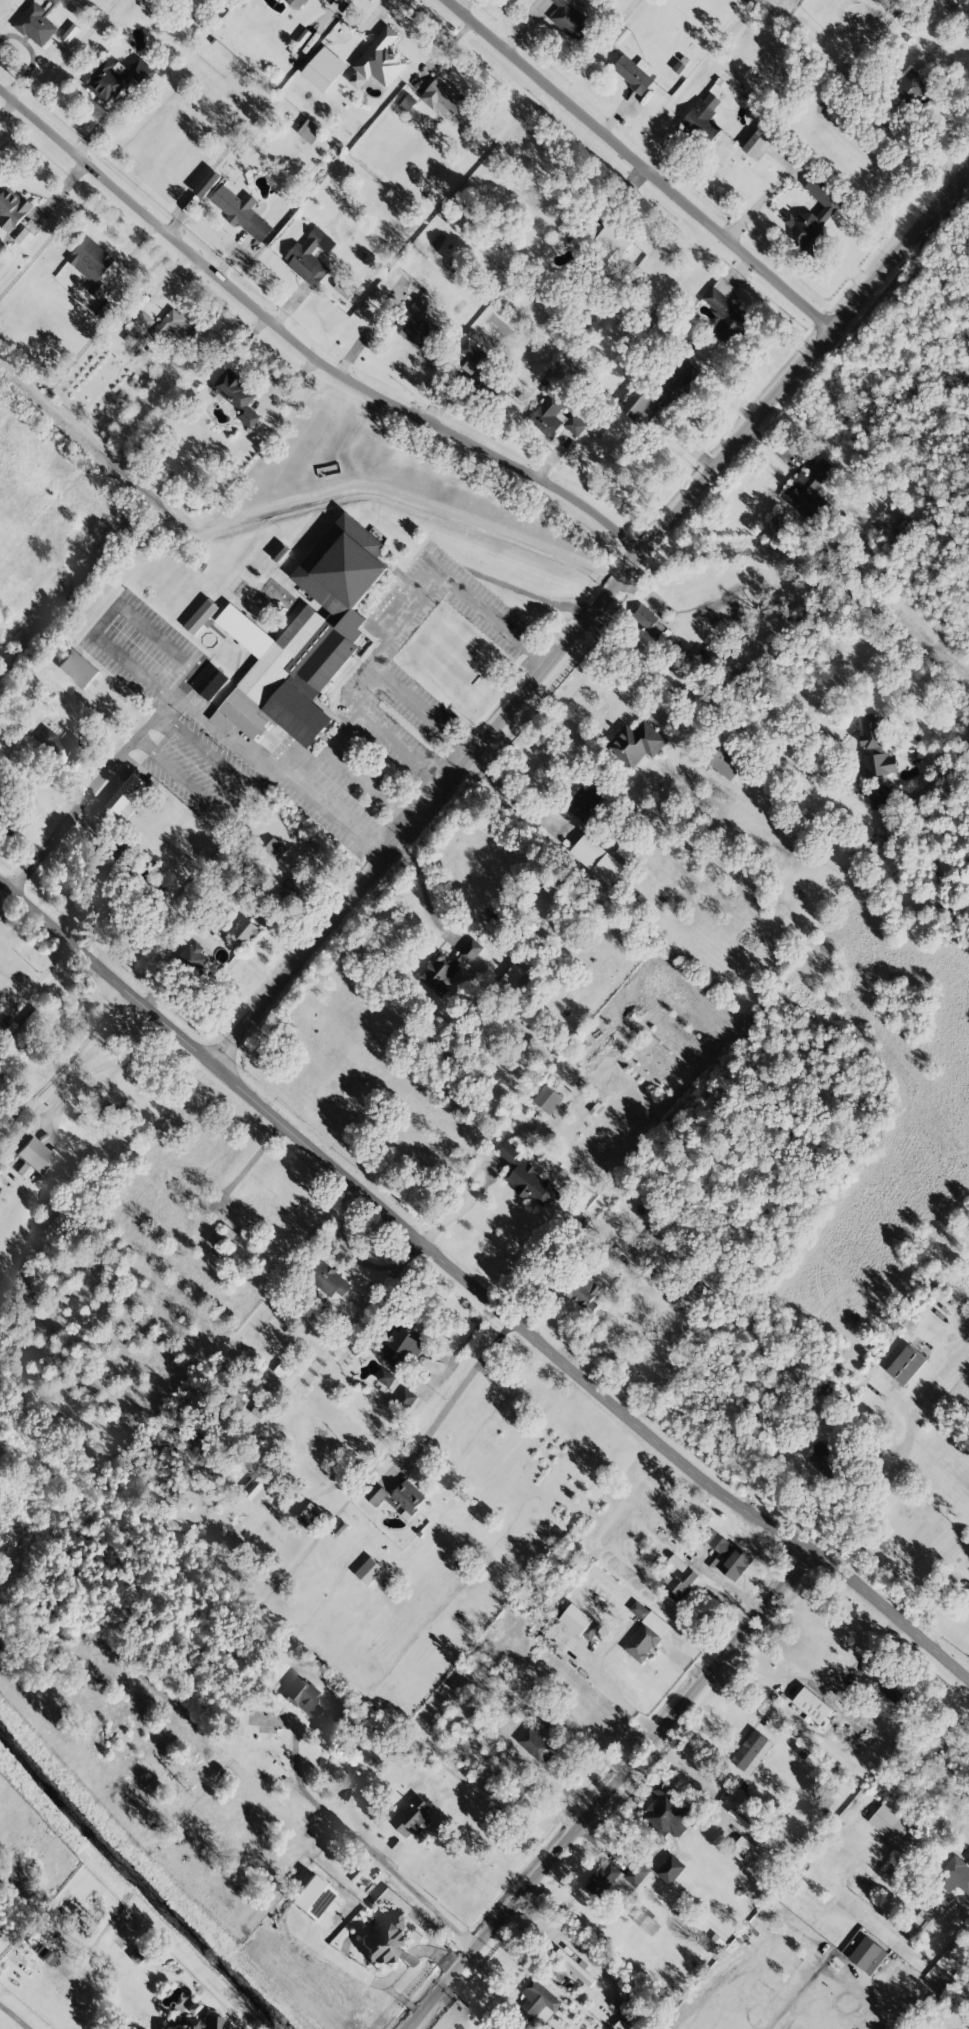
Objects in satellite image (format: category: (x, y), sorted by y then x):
building: (324, 0)
building: (295, 3)
building: (570, 19)
building: (37, 23)
building: (379, 60)
building: (324, 68)
building: (635, 72)
building: (116, 78)
building: (912, 86)
building: (447, 101)
building: (703, 119)
building: (309, 131)
building: (758, 144)
road: (640, 165)
road: (768, 192)
building: (12, 209)
building: (242, 212)
building: (815, 217)
building: (578, 236)
building: (25, 237)
building: (613, 243)
building: (310, 256)
building: (92, 264)
building: (725, 310)
building: (174, 327)
building: (419, 327)
building: (138, 330)
road: (303, 353)
building: (473, 353)
building: (677, 389)
building: (236, 397)
building: (549, 415)
building: (575, 425)
building: (810, 492)
road: (537, 595)
road: (111, 611)
road: (401, 611)
building: (201, 617)
road: (591, 618)
building: (649, 621)
building: (304, 638)
building: (78, 668)
building: (210, 682)
road: (716, 708)
road: (343, 725)
building: (637, 743)
building: (61, 745)
building: (877, 746)
road: (404, 747)
building: (726, 761)
road: (282, 770)
road: (96, 787)
road: (227, 788)
road: (514, 796)
building: (881, 796)
building: (128, 797)
building: (586, 802)
building: (275, 848)
building: (597, 859)
road: (424, 890)
building: (288, 892)
building: (245, 930)
building: (470, 950)
building: (440, 973)
road: (103, 1065)
building: (547, 1099)
building: (41, 1157)
building: (528, 1178)
building: (258, 1212)
road: (445, 1221)
building: (657, 1257)
building: (330, 1281)
road: (475, 1290)
building: (584, 1291)
building: (317, 1337)
road: (465, 1342)
building: (402, 1350)
building: (906, 1365)
building: (282, 1370)
building: (387, 1375)
road: (457, 1391)
building: (407, 1397)
building: (824, 1460)
building: (255, 1488)
building: (376, 1493)
building: (406, 1497)
building: (312, 1516)
building: (727, 1556)
building: (369, 1571)
building: (684, 1585)
building: (967, 1604)
building: (580, 1622)
building: (645, 1632)
road: (824, 1688)
road: (613, 1693)
building: (895, 1693)
building: (302, 1695)
road: (442, 1701)
building: (812, 1705)
building: (546, 1717)
building: (772, 1724)
building: (536, 1744)
building: (751, 1752)
road: (611, 1795)
building: (667, 1812)
building: (412, 1816)
building: (889, 1823)
road: (364, 1843)
building: (746, 1852)
building: (671, 1869)
building: (954, 1874)
building: (616, 1878)
building: (311, 1897)
building: (922, 1920)
building: (645, 1922)
building: (386, 1944)
building: (868, 1955)
building: (576, 1968)
building: (536, 2000)
road: (470, 2005)
road: (9, 2021)
building: (211, 2022)
building: (186, 2024)

